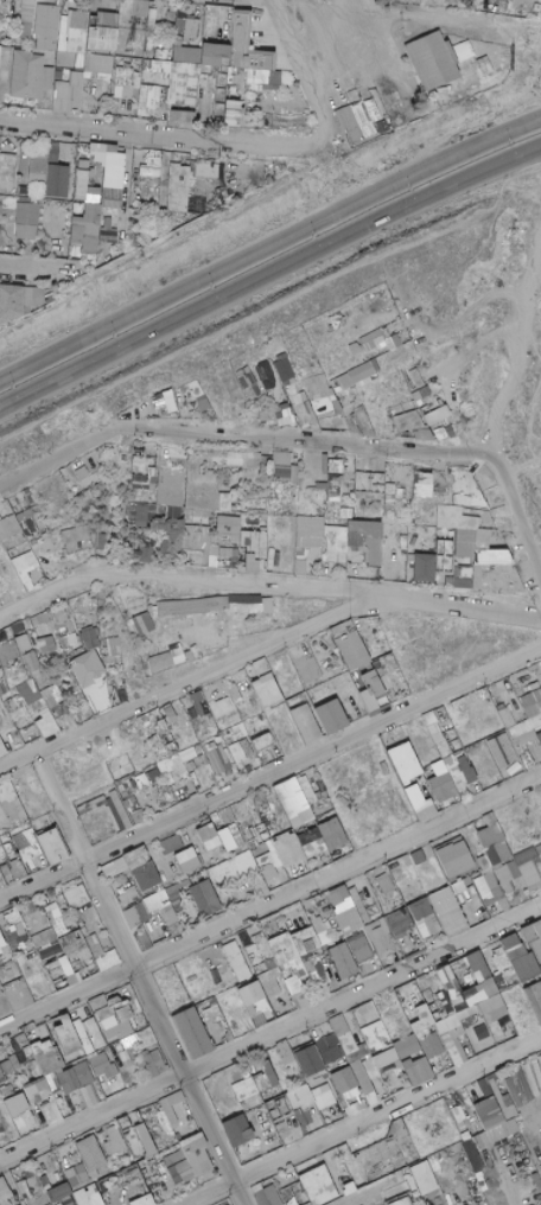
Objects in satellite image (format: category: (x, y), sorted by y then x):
road: (298, 75)

